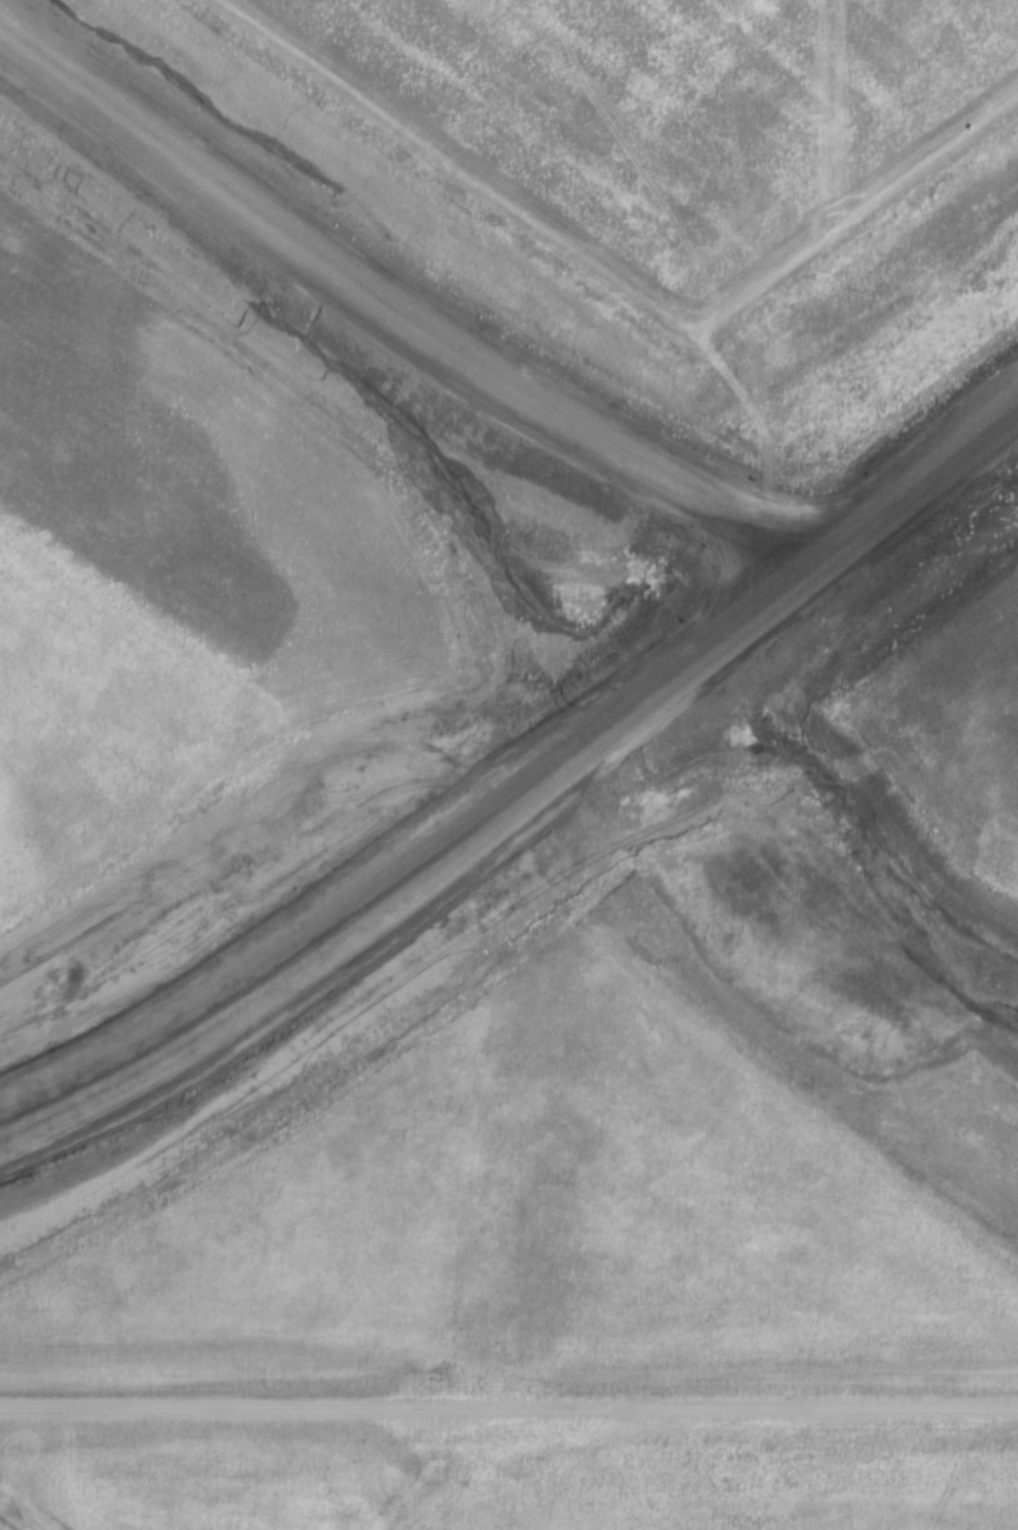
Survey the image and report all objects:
quarry: (923, 123)

